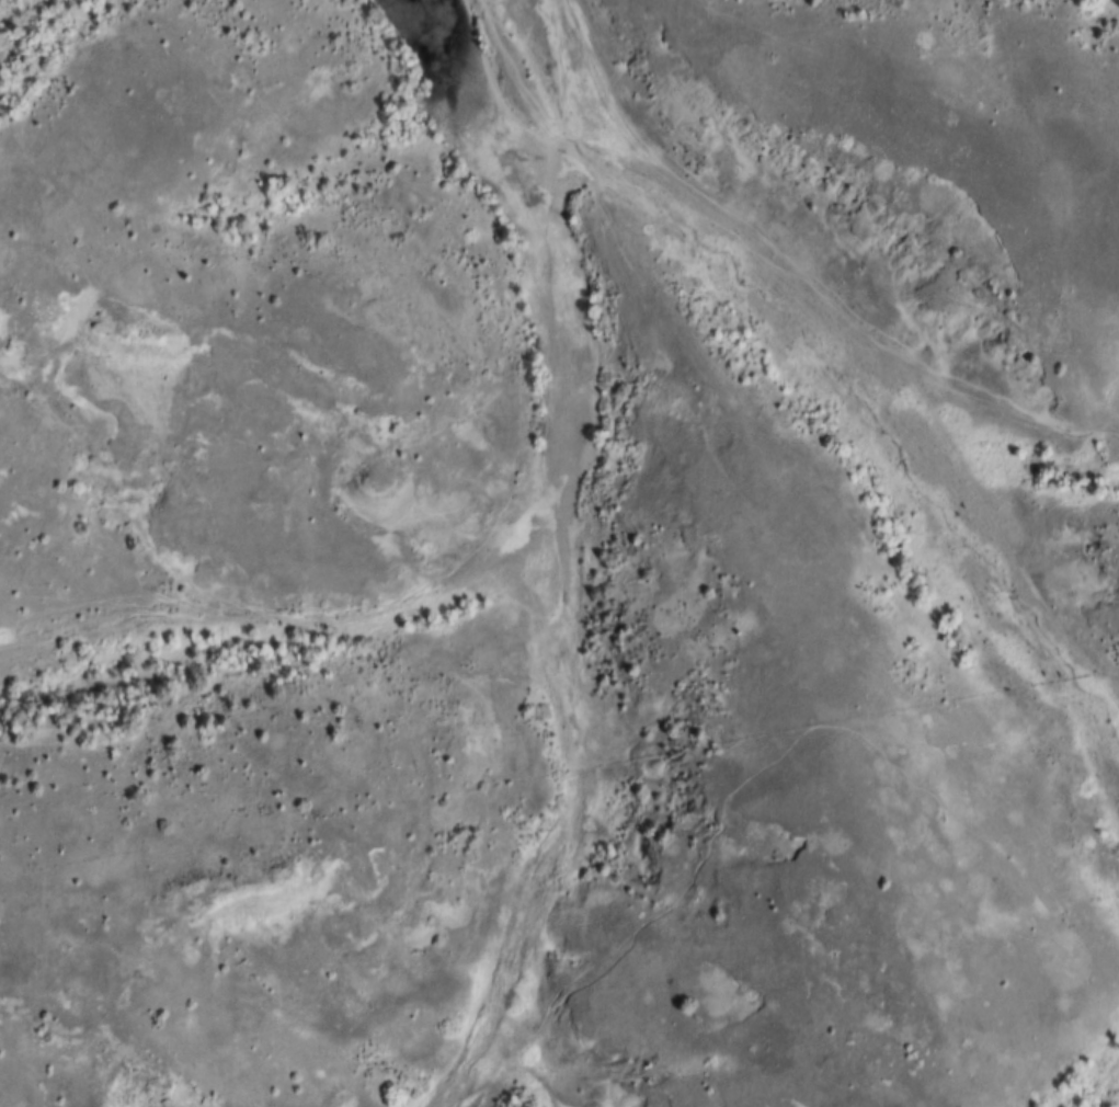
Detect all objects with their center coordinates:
road: (875, 326)

